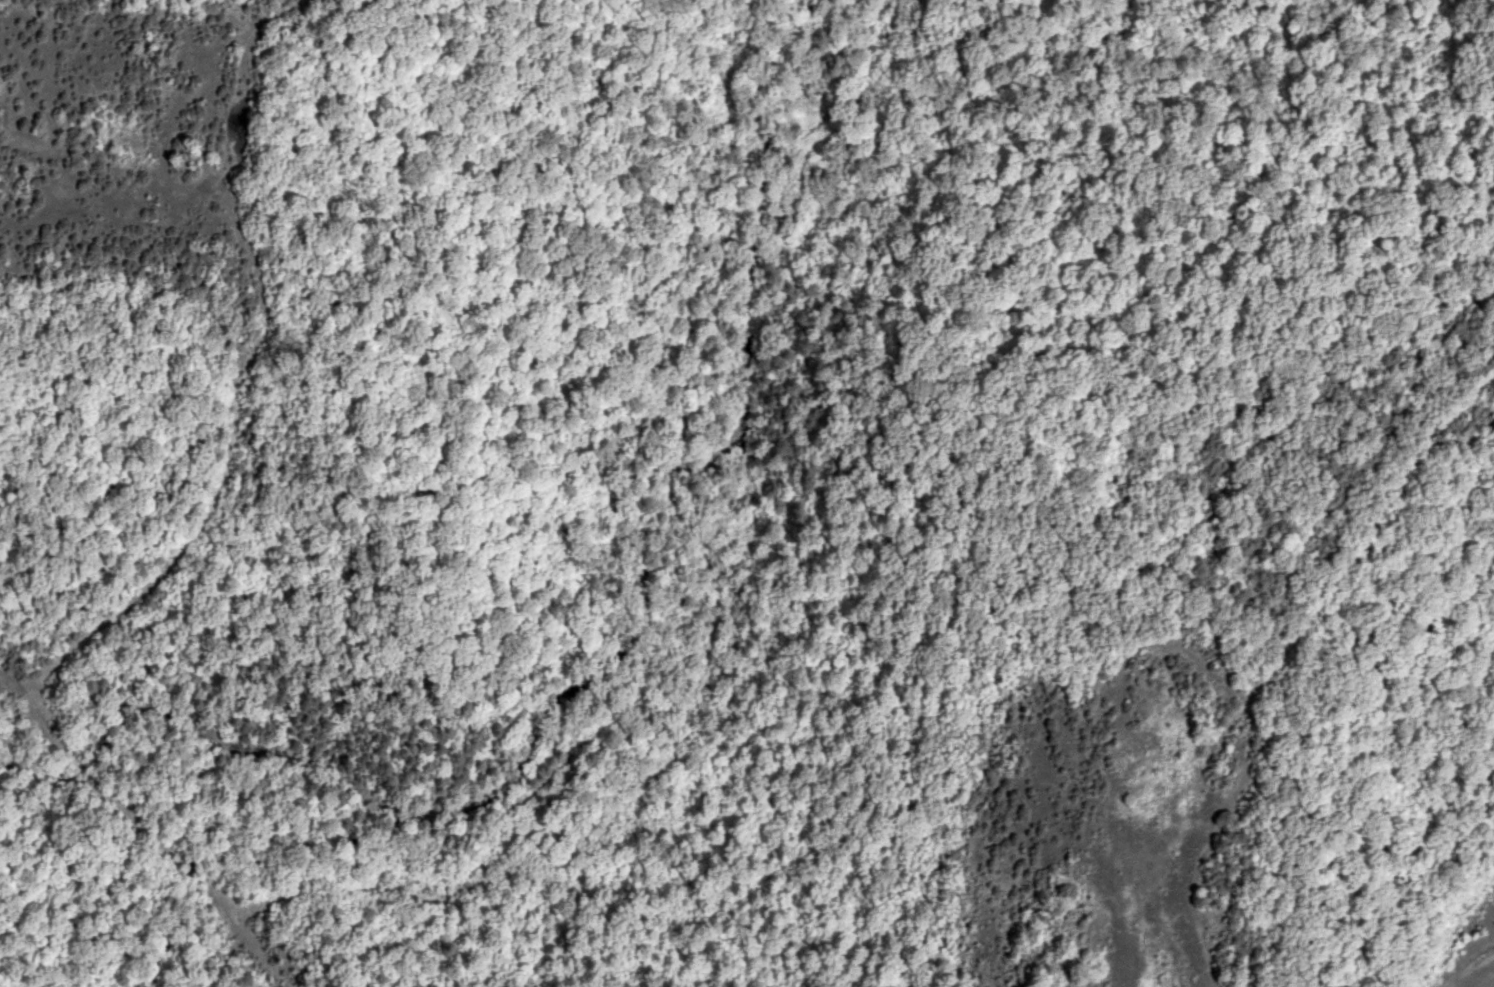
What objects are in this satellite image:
road: (120, 797)
road: (268, 955)

